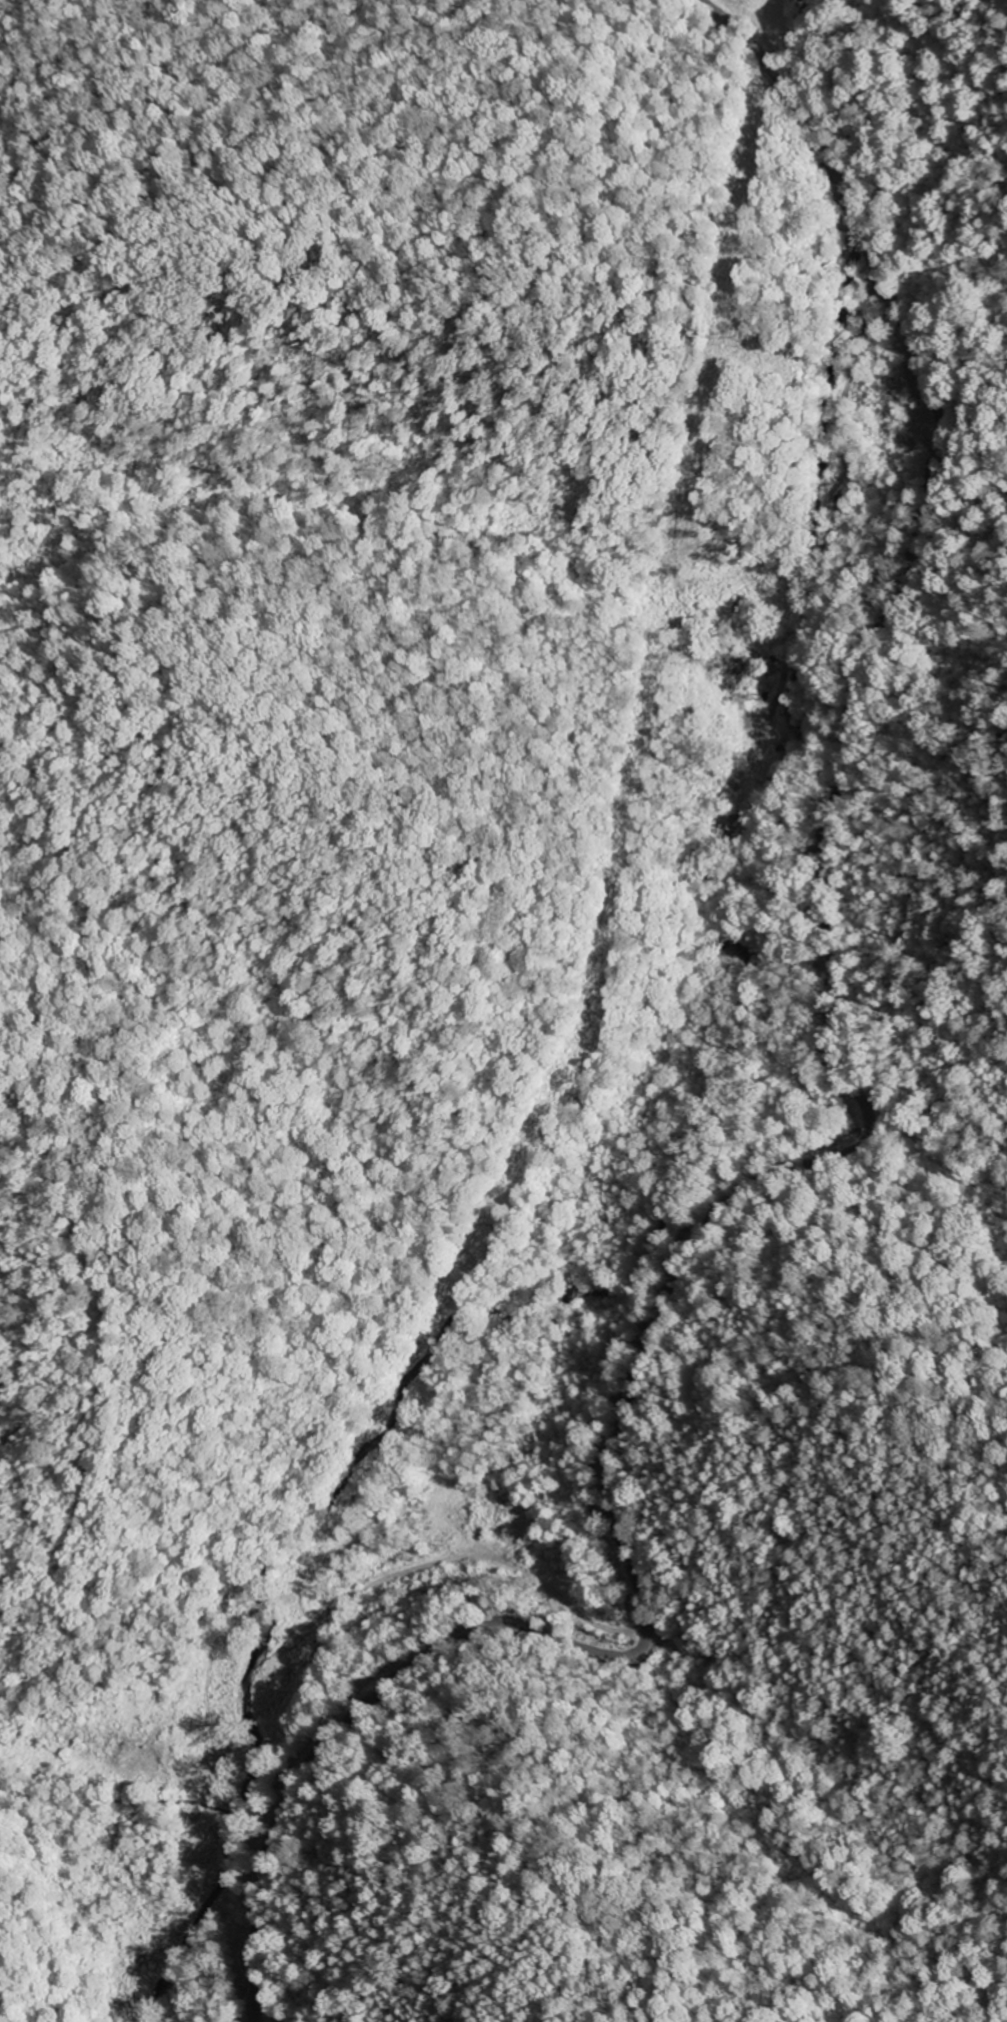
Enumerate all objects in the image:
road: (848, 1153)

